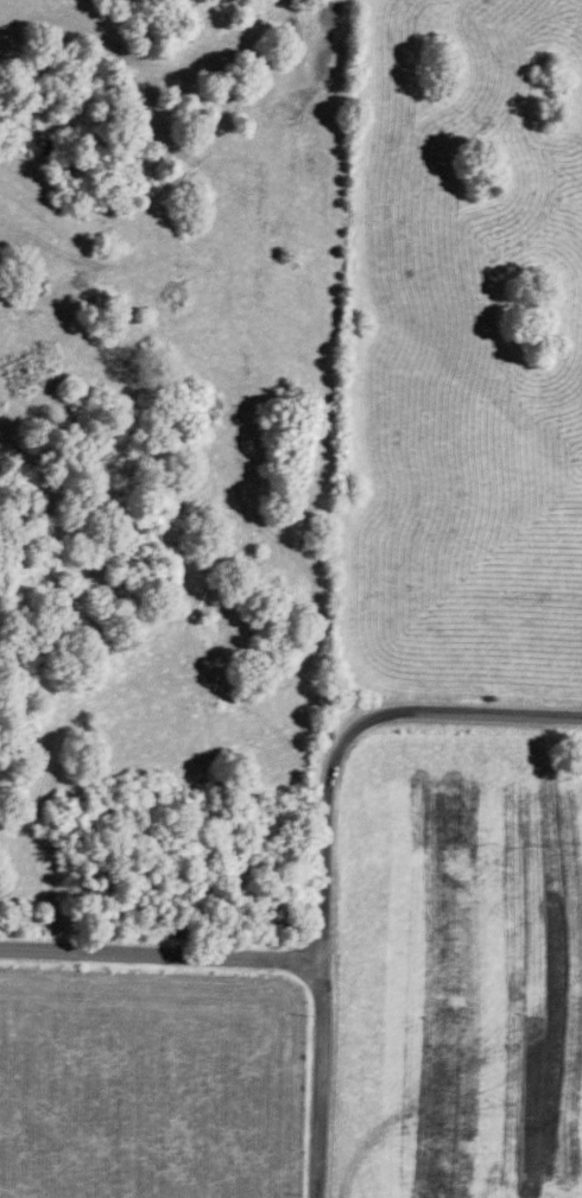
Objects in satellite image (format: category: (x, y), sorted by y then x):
road: (346, 731)
road: (162, 957)
road: (320, 1080)

